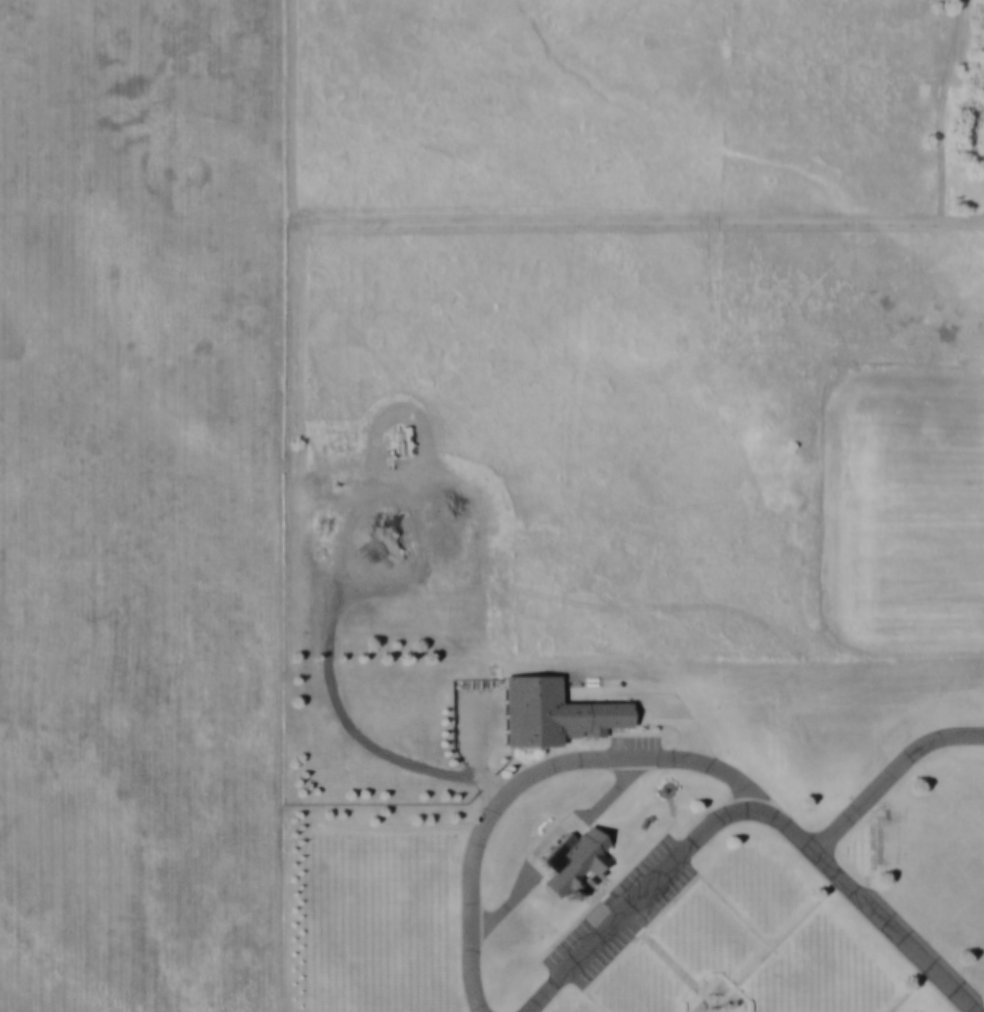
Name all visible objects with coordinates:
road: (616, 50)
building: (557, 711)
road: (682, 719)
road: (468, 756)
road: (889, 774)
road: (525, 775)
road: (947, 790)
park: (631, 831)
road: (552, 838)
road: (668, 840)
building: (577, 861)
road: (602, 884)
road: (594, 893)
road: (605, 895)
road: (636, 900)
road: (869, 904)
road: (670, 906)
road: (539, 914)
parking lot: (624, 914)
road: (951, 917)
road: (787, 934)
road: (672, 962)
road: (555, 963)
road: (727, 985)
road: (913, 990)
road: (716, 997)
road: (692, 1001)
road: (708, 1004)
flagpole: (719, 1004)
road: (722, 1004)
flagpole: (710, 1005)
flagpole: (714, 1005)
road: (715, 1011)

